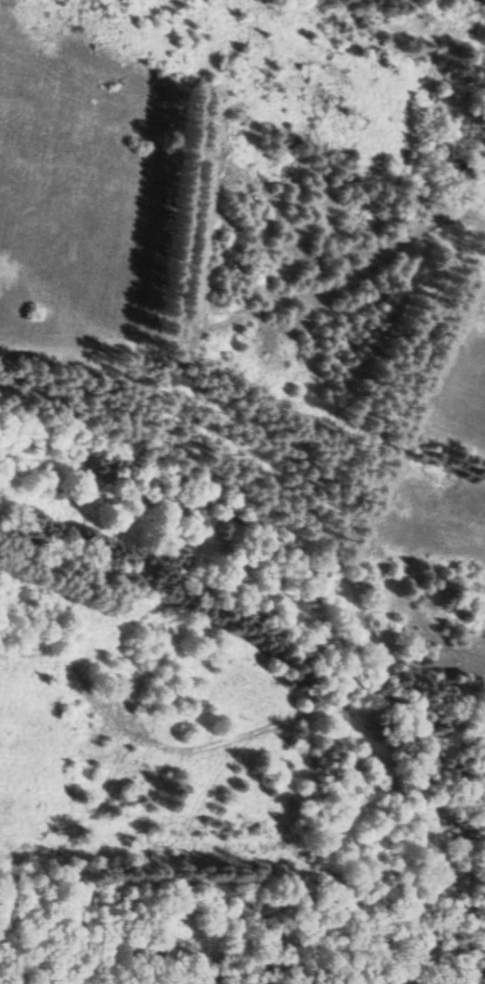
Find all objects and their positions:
road: (346, 281)

